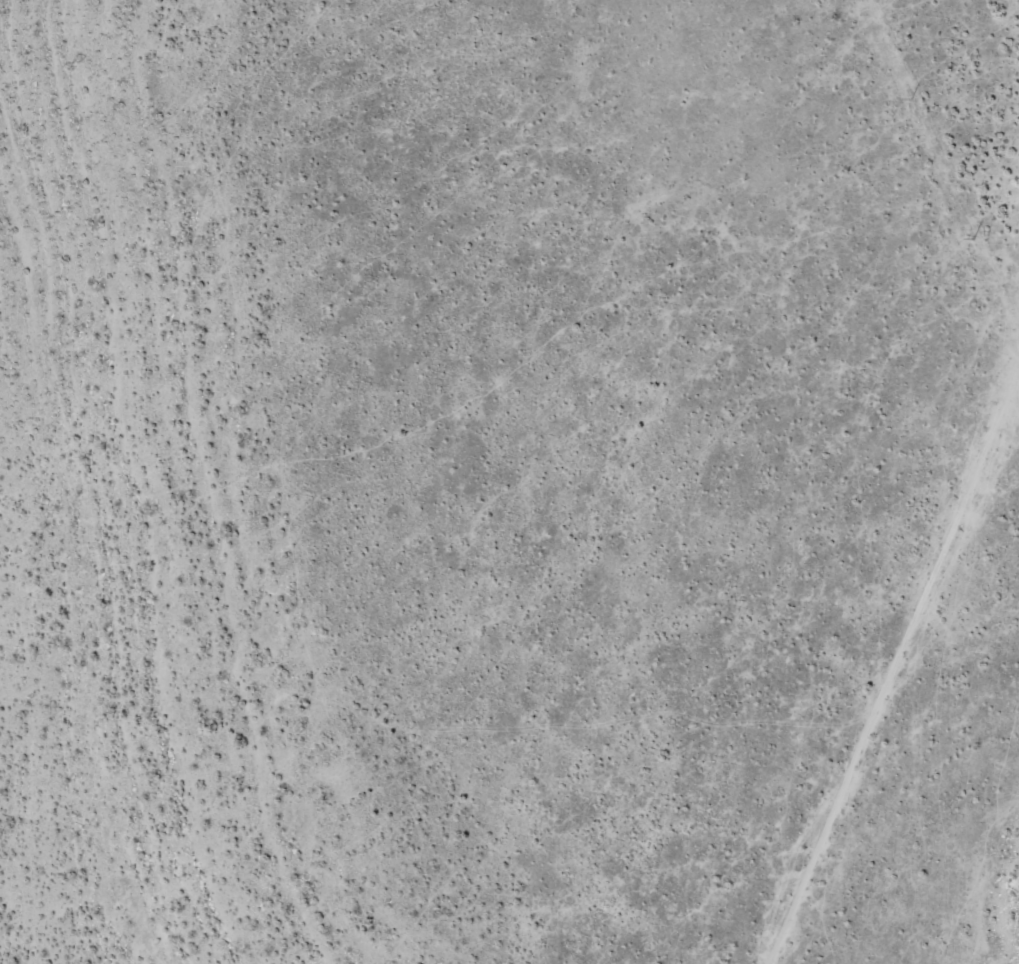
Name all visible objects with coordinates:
road: (900, 677)

